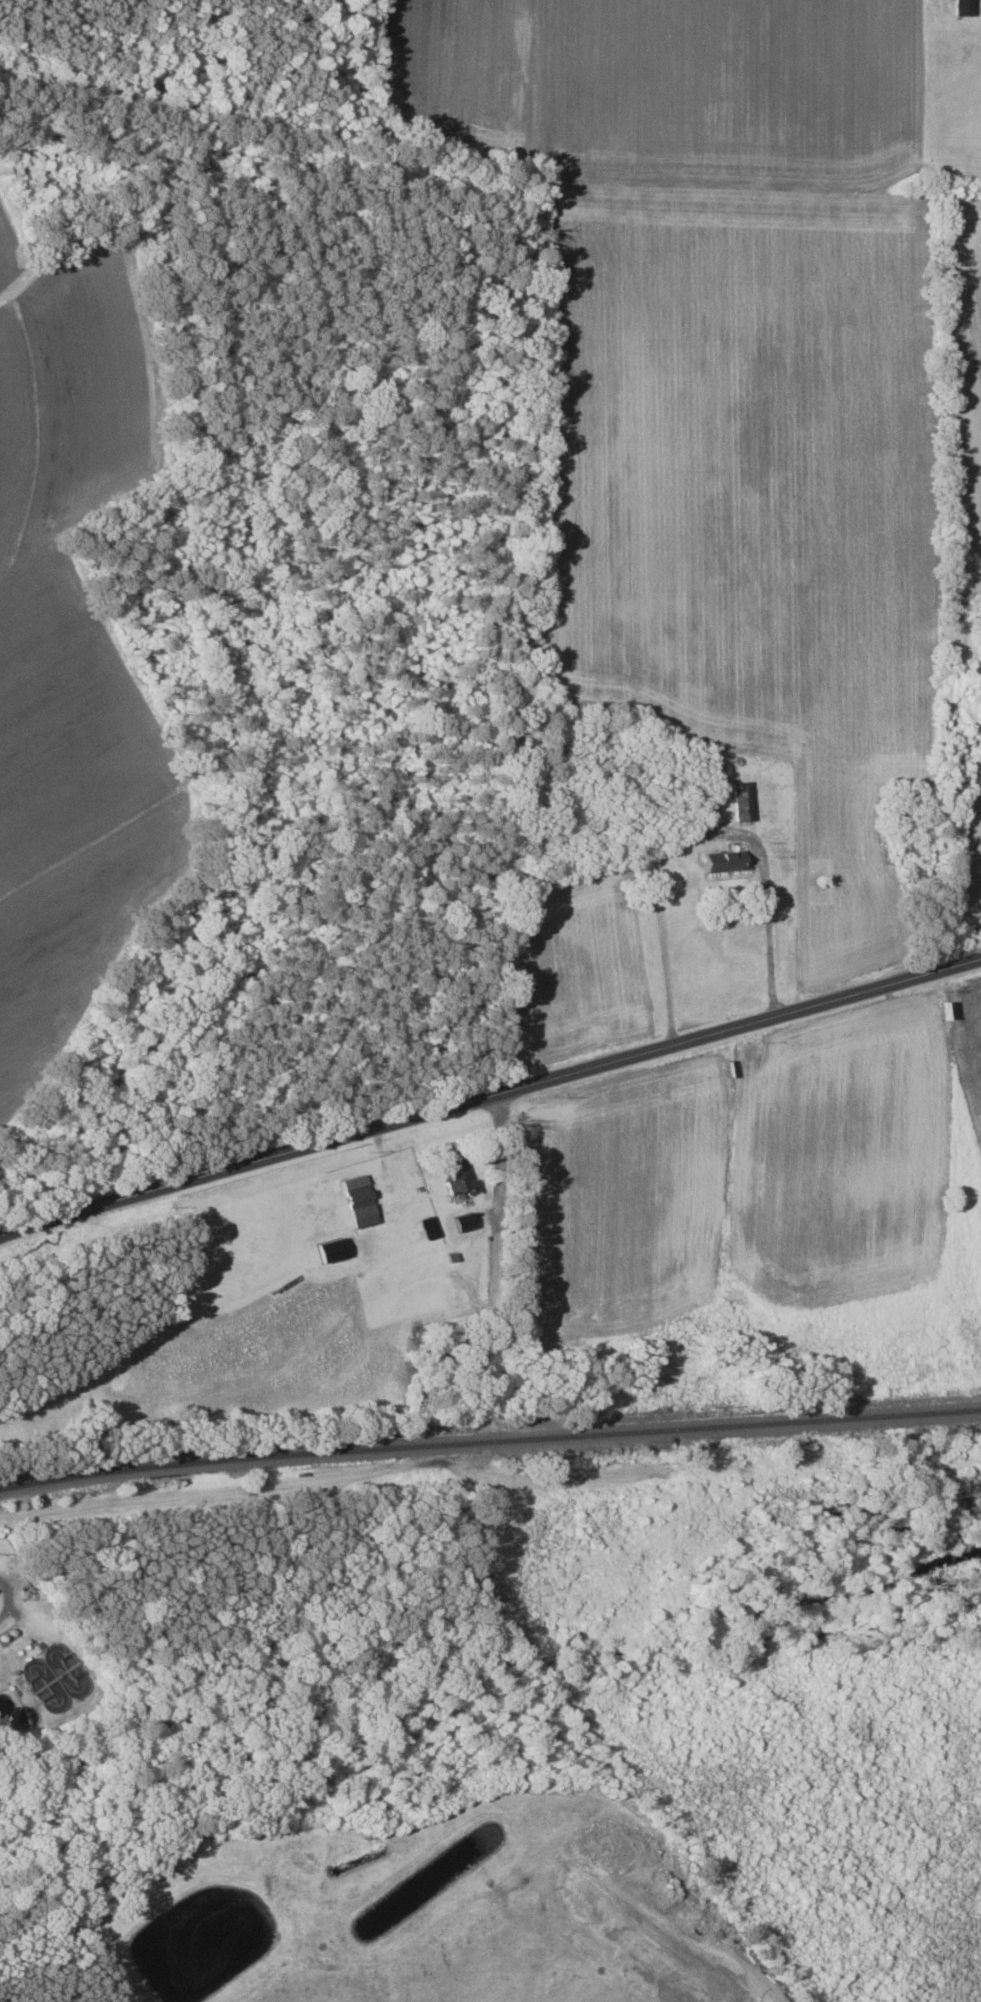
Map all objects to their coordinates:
building: (741, 801)
road: (697, 832)
building: (725, 861)
road: (524, 1084)
building: (457, 1172)
building: (357, 1196)
building: (471, 1220)
road: (33, 1223)
building: (428, 1228)
building: (330, 1250)
railway: (738, 1424)
railway: (247, 1457)
road: (8, 1595)

